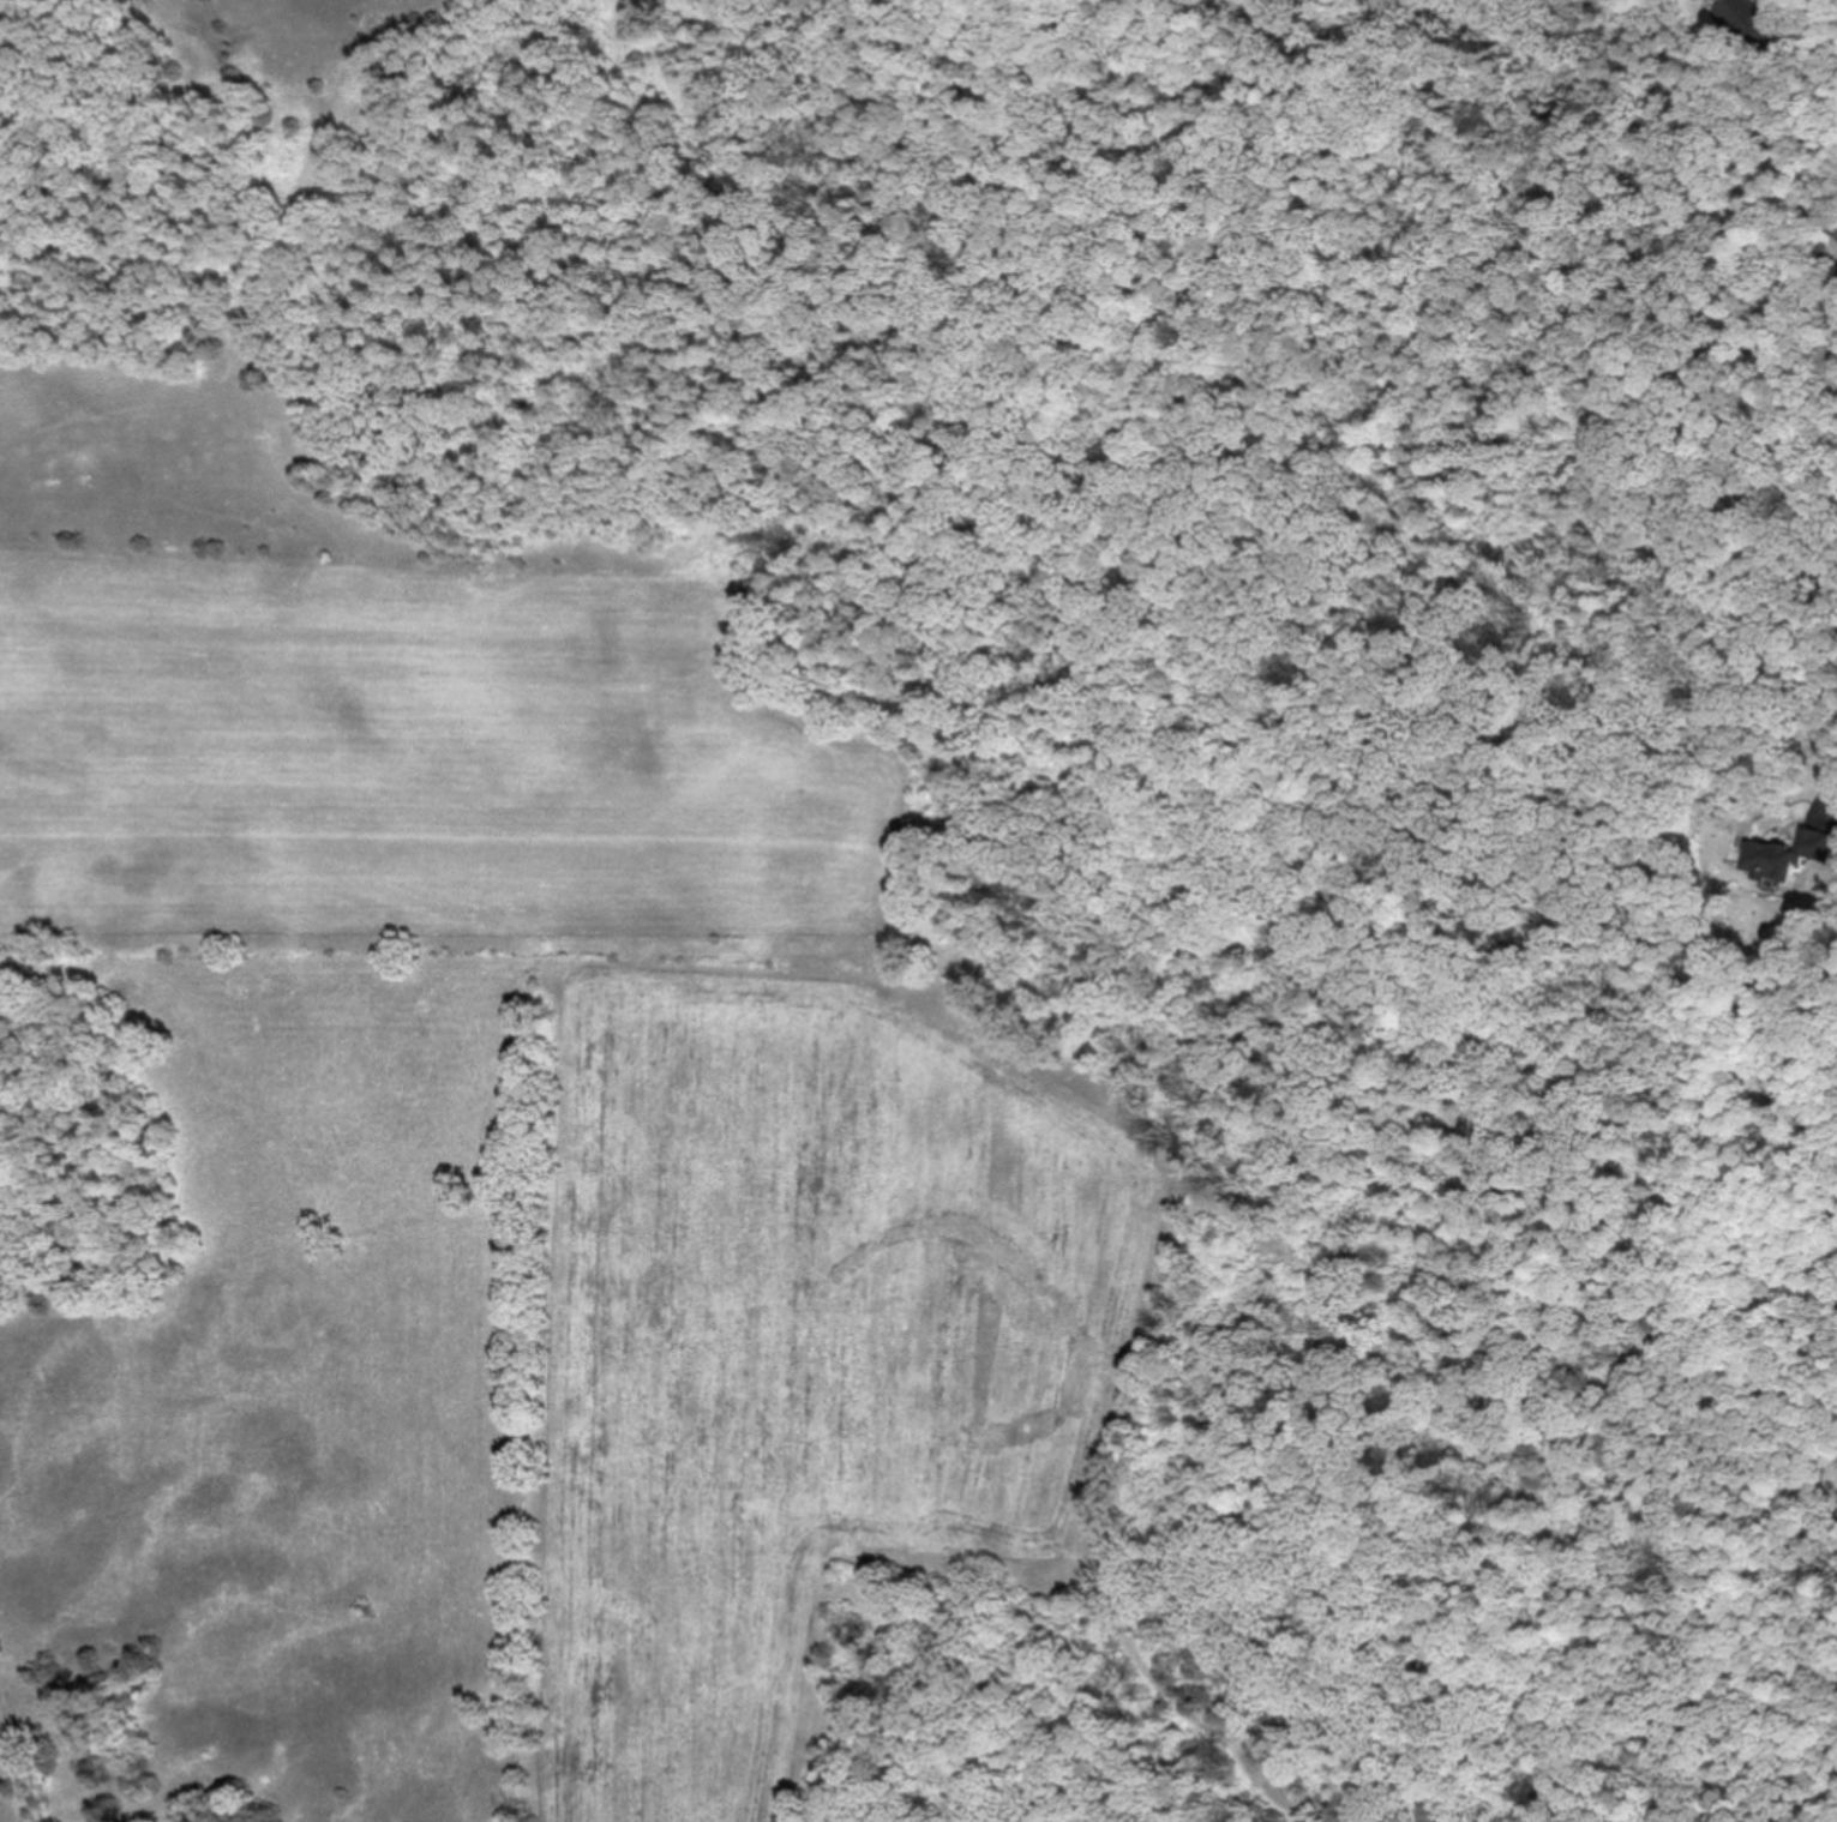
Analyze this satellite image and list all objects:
building: (1747, 17)
road: (1788, 172)
road: (1829, 325)
road: (1819, 771)
building: (1788, 854)

